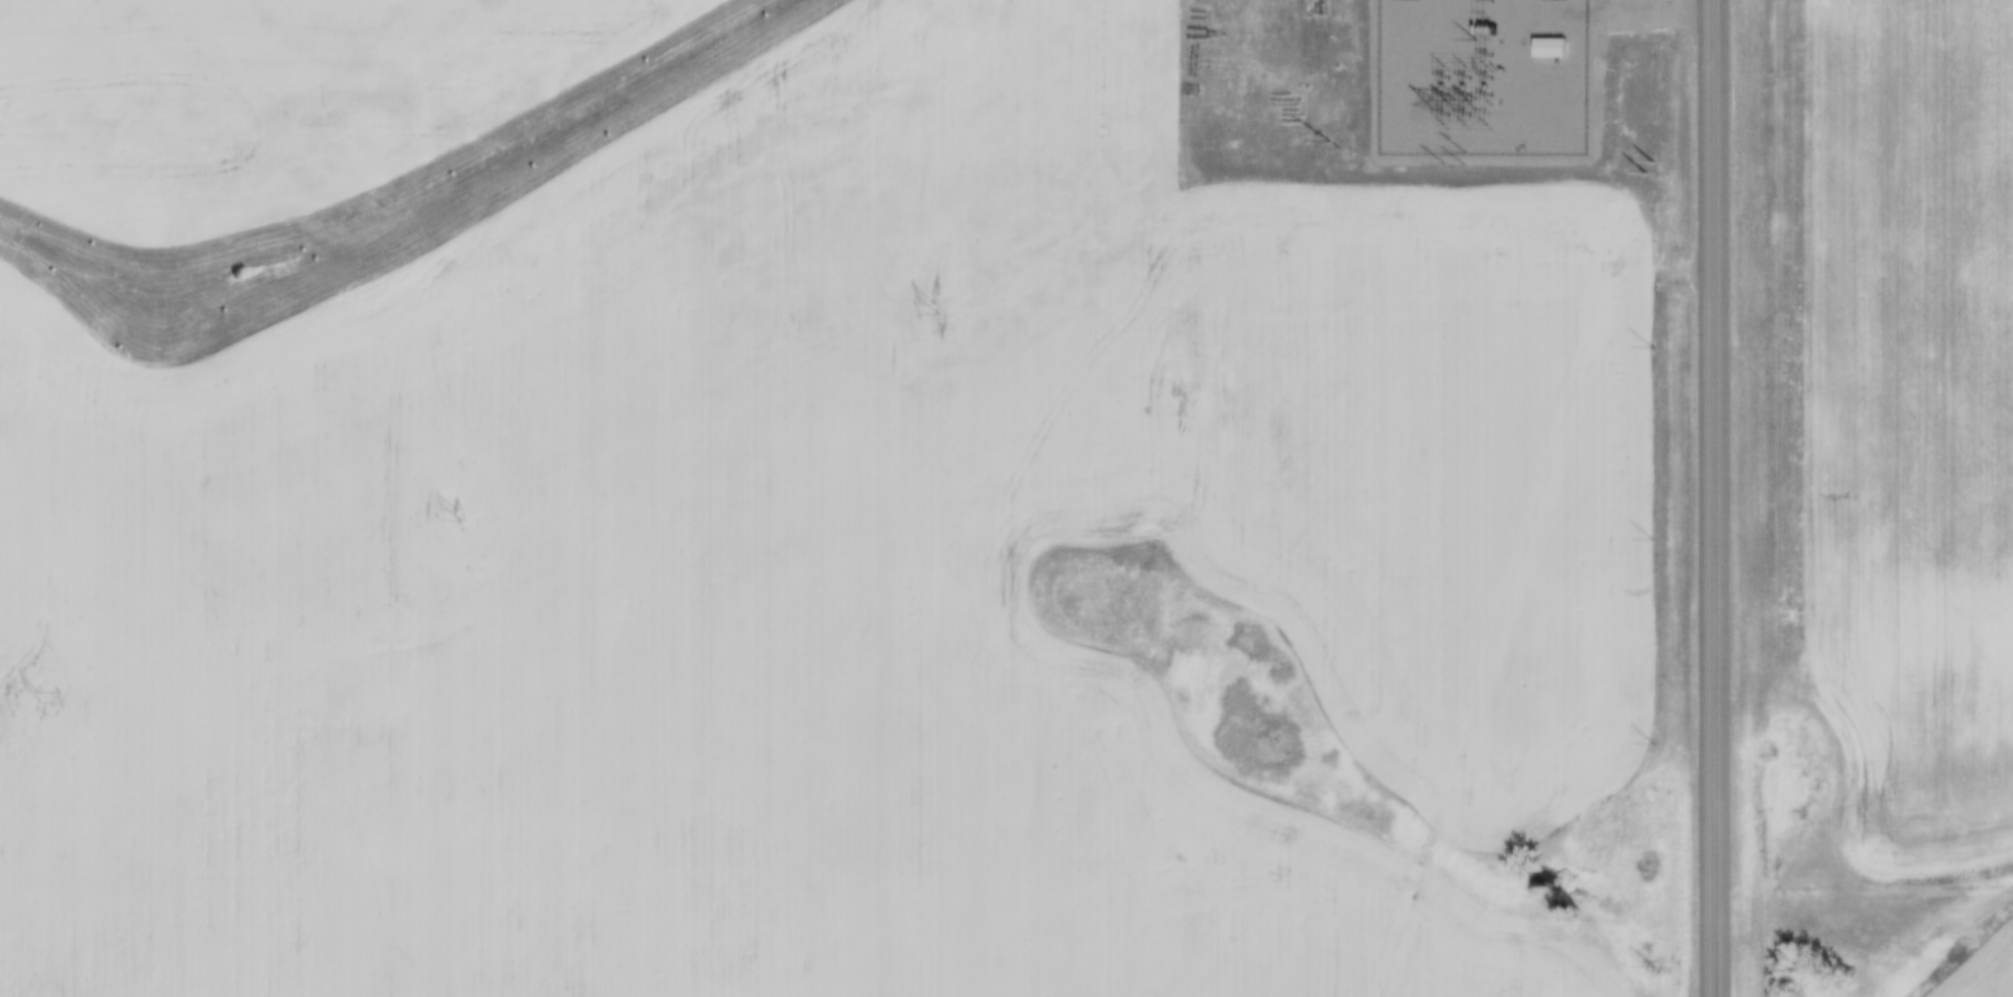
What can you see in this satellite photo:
building: (1549, 45)
power substation: (1482, 76)
power tower: (1326, 139)
power tower: (936, 308)
road: (1715, 498)
power tower: (457, 514)
power tower: (36, 696)

